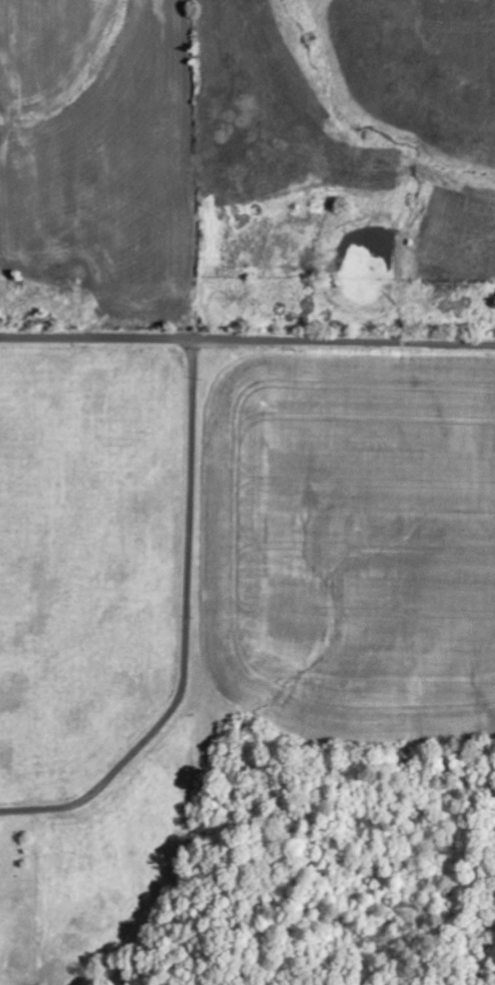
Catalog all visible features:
road: (247, 340)

